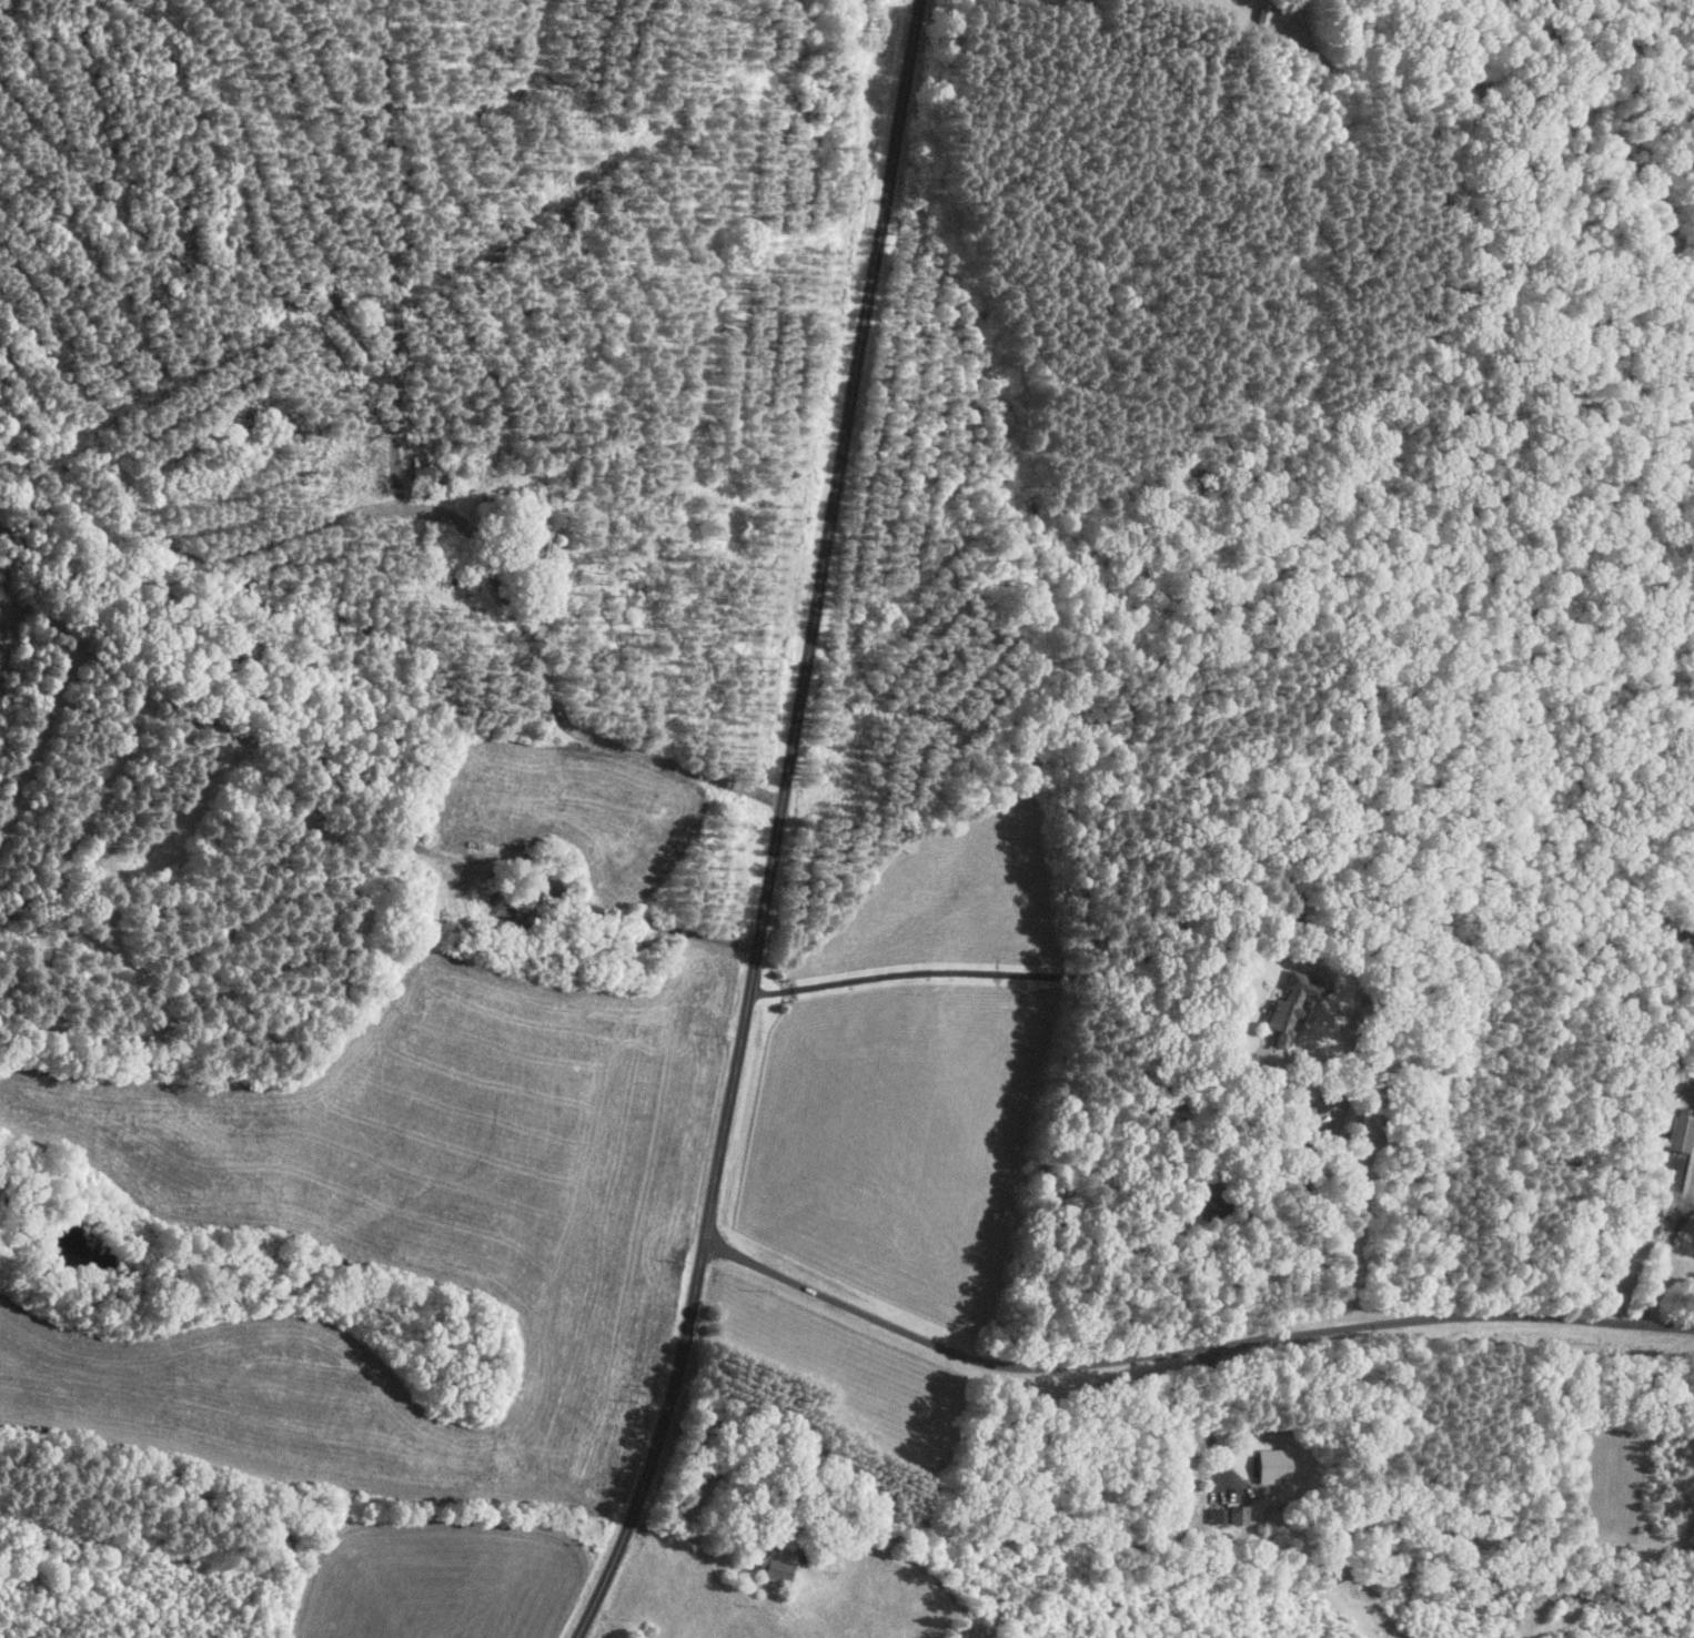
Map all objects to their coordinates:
road: (588, 736)
road: (768, 827)
road: (1008, 974)
building: (1285, 1002)
building: (1677, 1133)
road: (1690, 1205)
road: (1657, 1262)
road: (1182, 1351)
road: (1207, 1417)
building: (1268, 1465)

